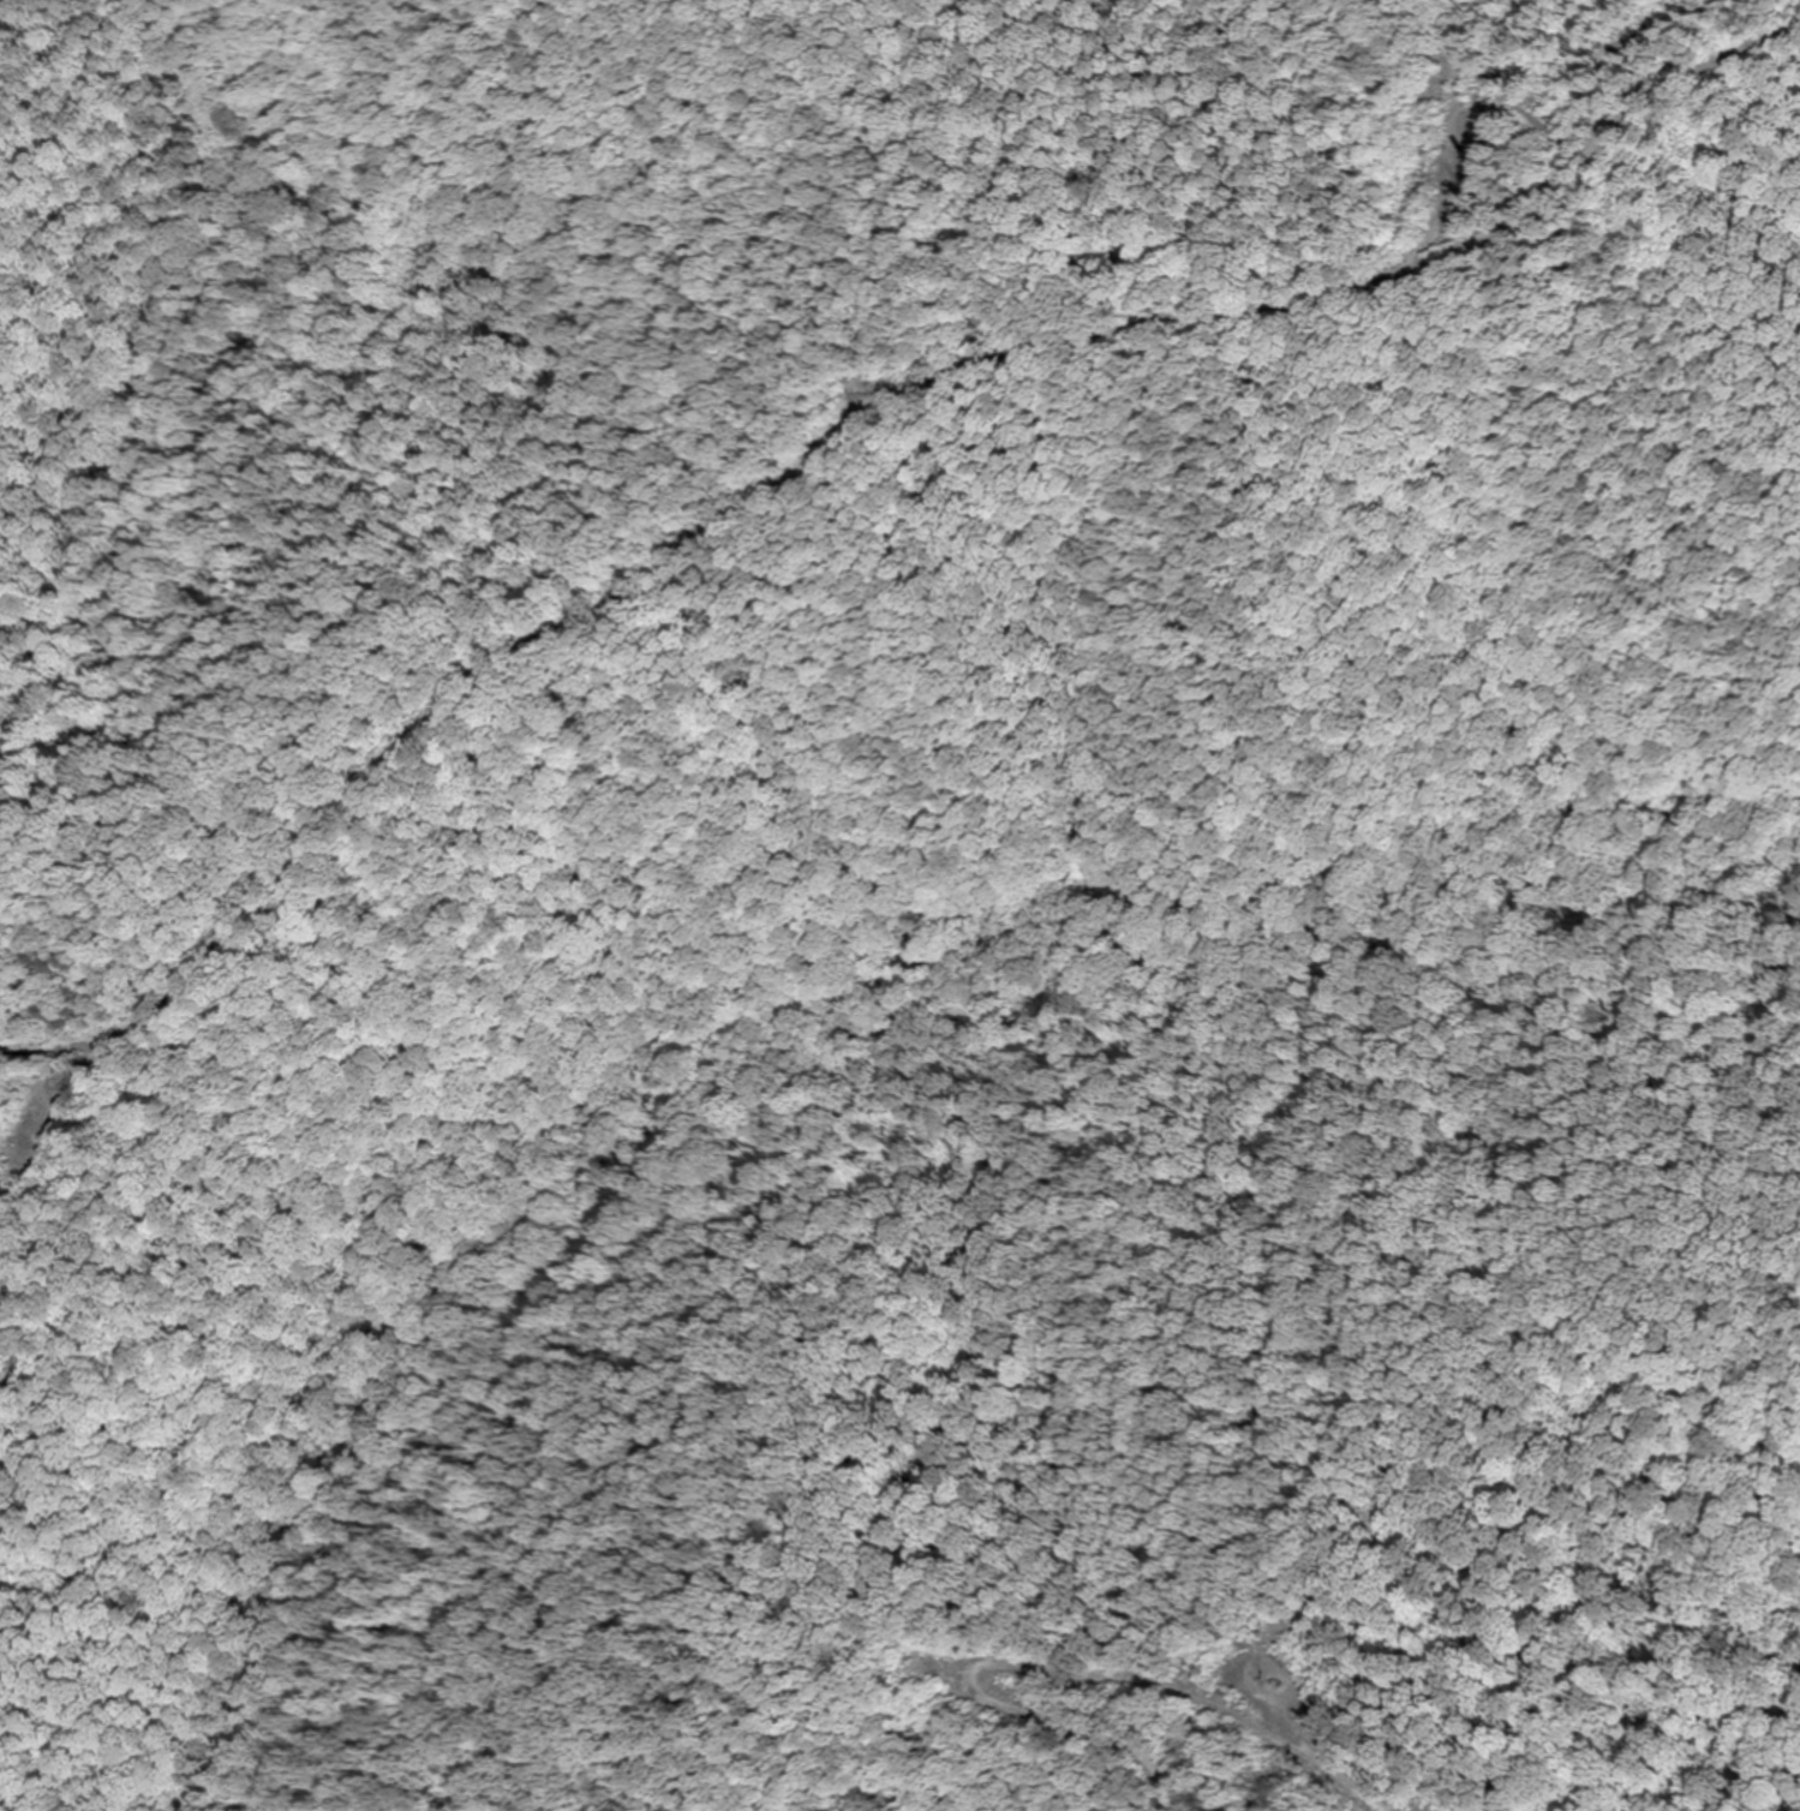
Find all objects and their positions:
road: (839, 431)

